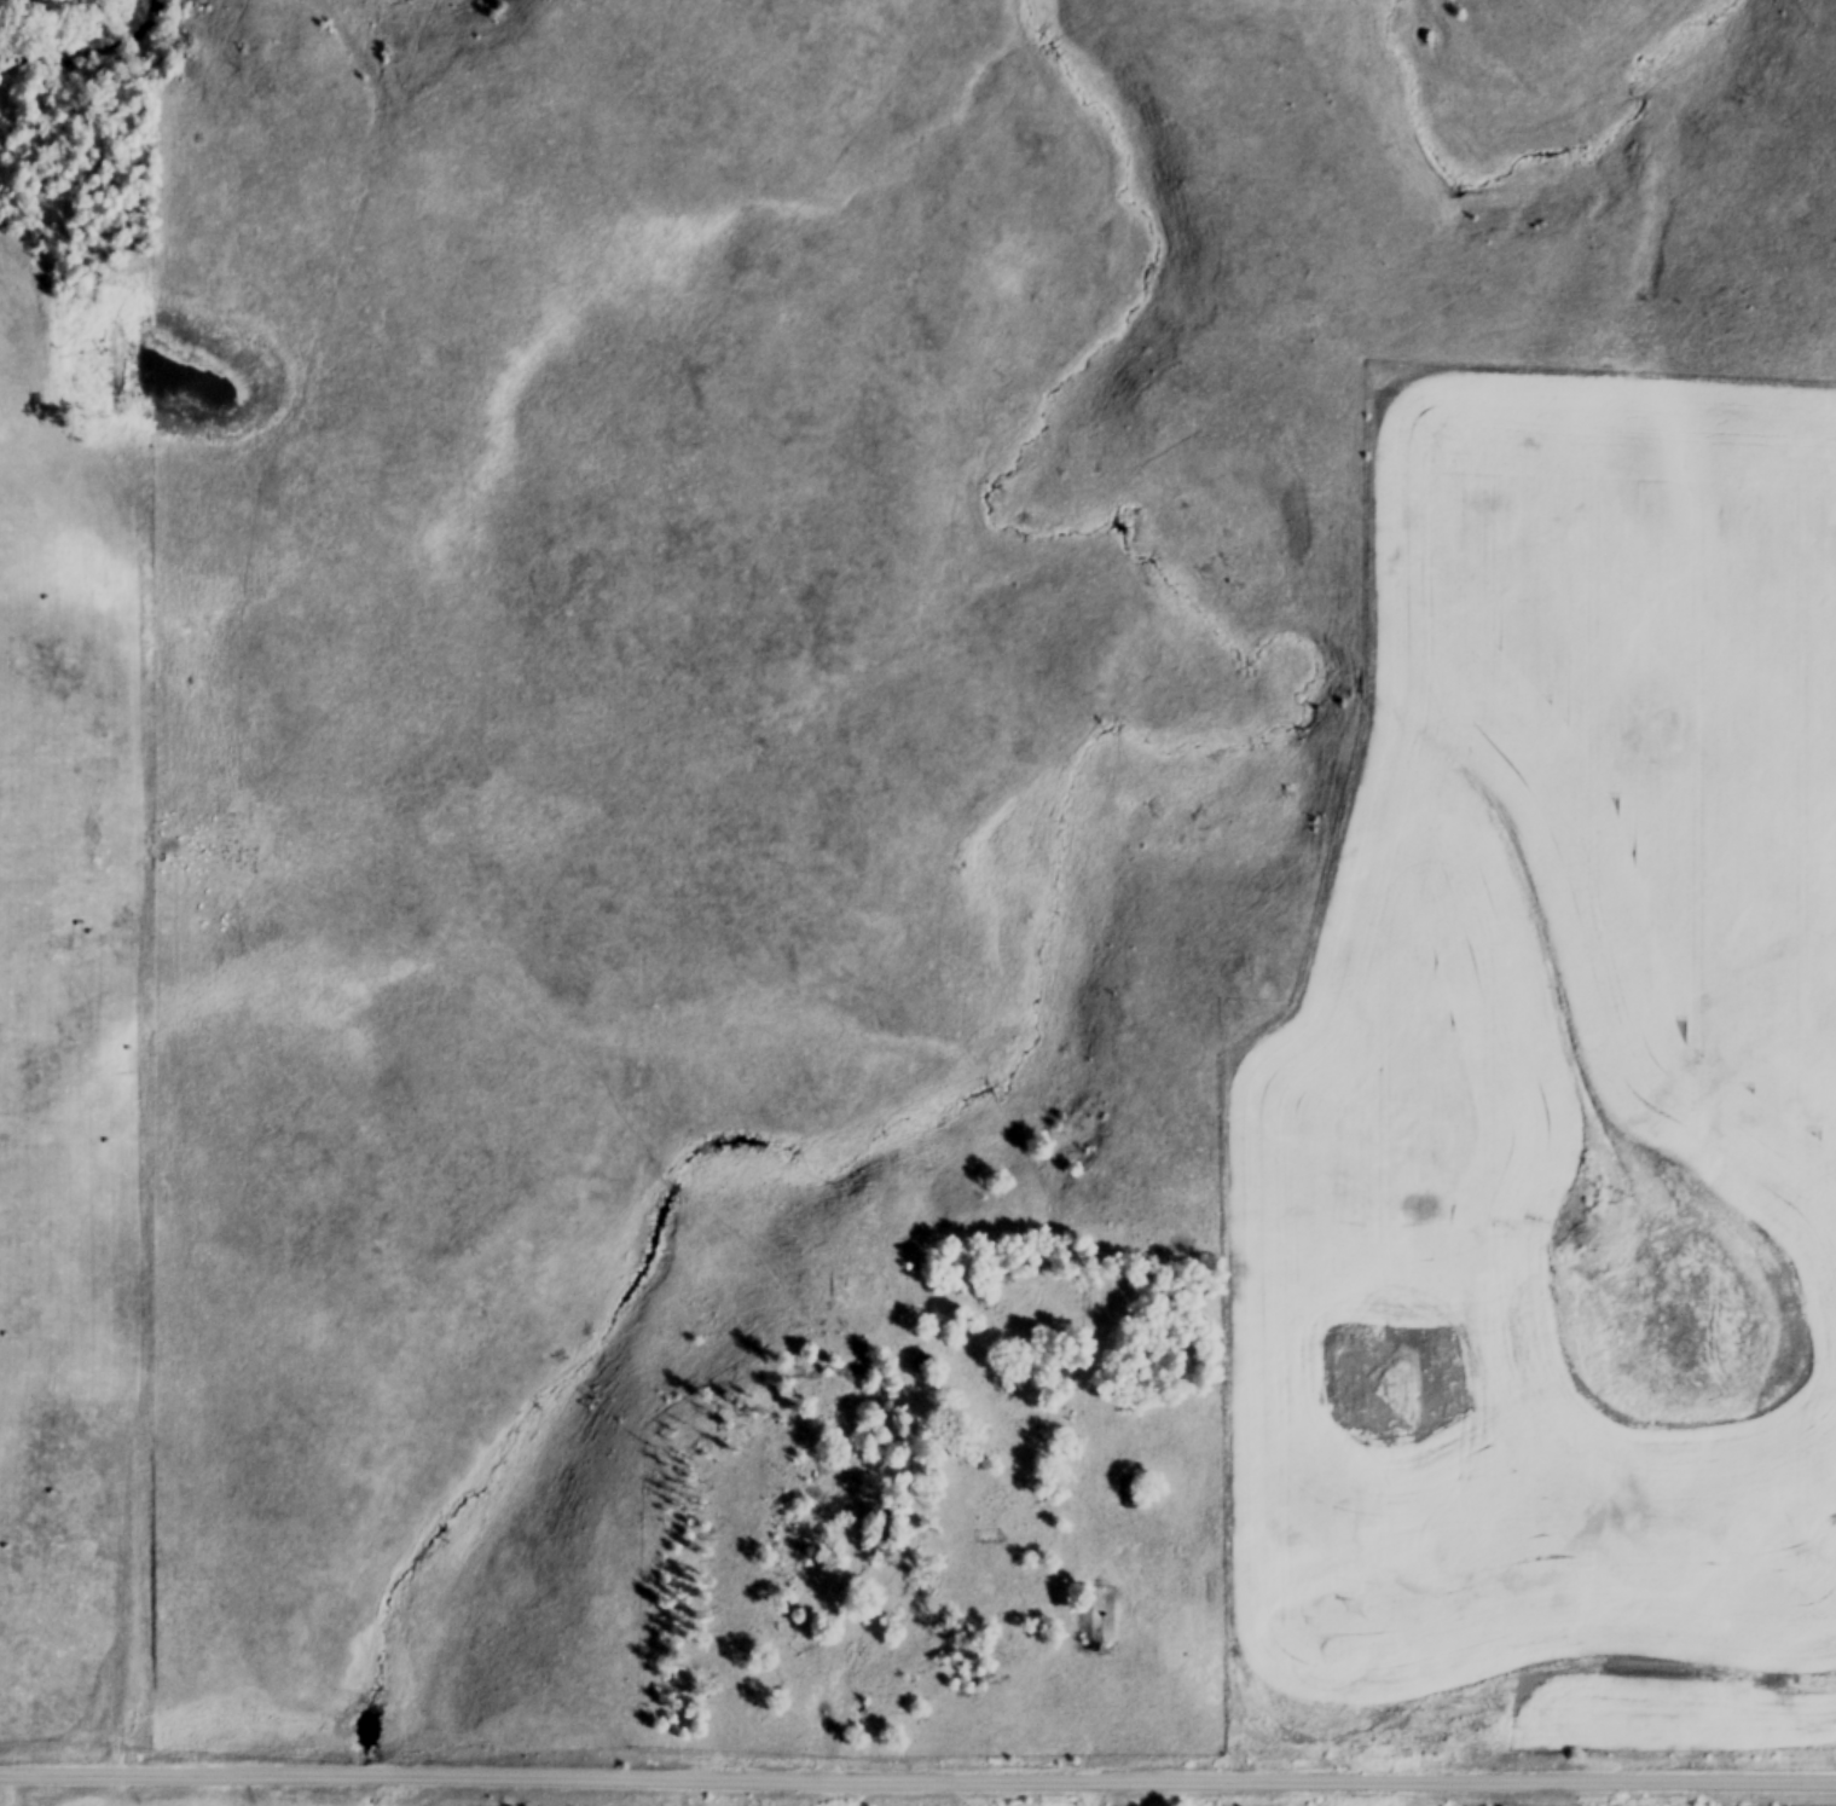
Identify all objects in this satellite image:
building: (1128, 1495)
building: (881, 1532)
building: (1096, 1623)
road: (900, 1633)
road: (917, 1778)

